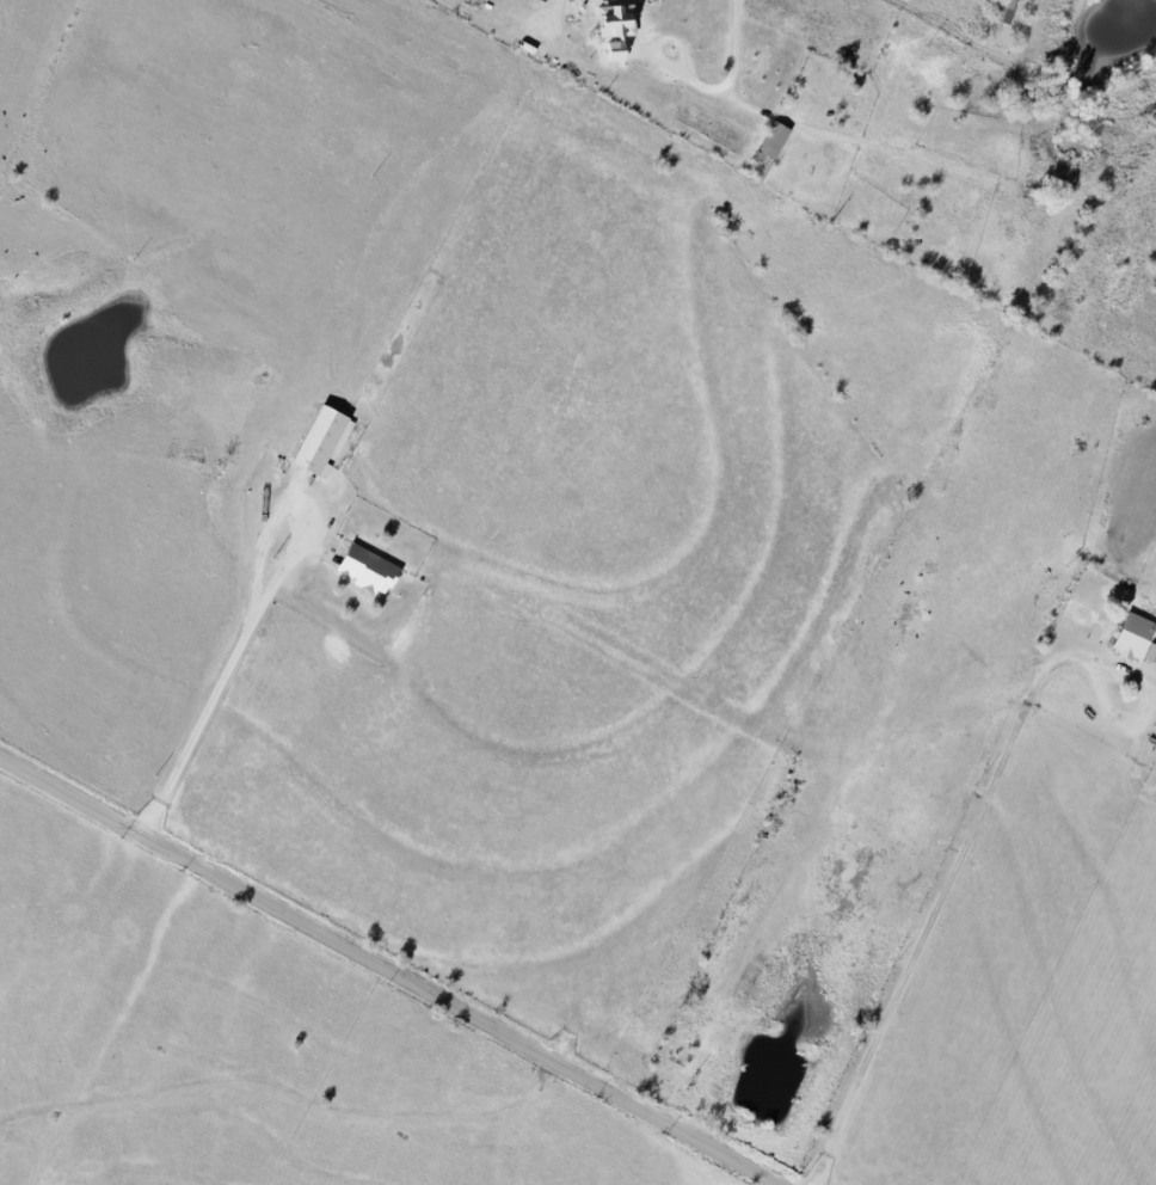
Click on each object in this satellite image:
road: (451, 0)
road: (566, 8)
building: (620, 26)
road: (743, 44)
building: (776, 139)
building: (325, 438)
building: (370, 567)
building: (1137, 636)
road: (226, 674)
road: (1143, 710)
road: (1139, 726)
road: (1135, 774)
road: (943, 897)
road: (379, 968)

